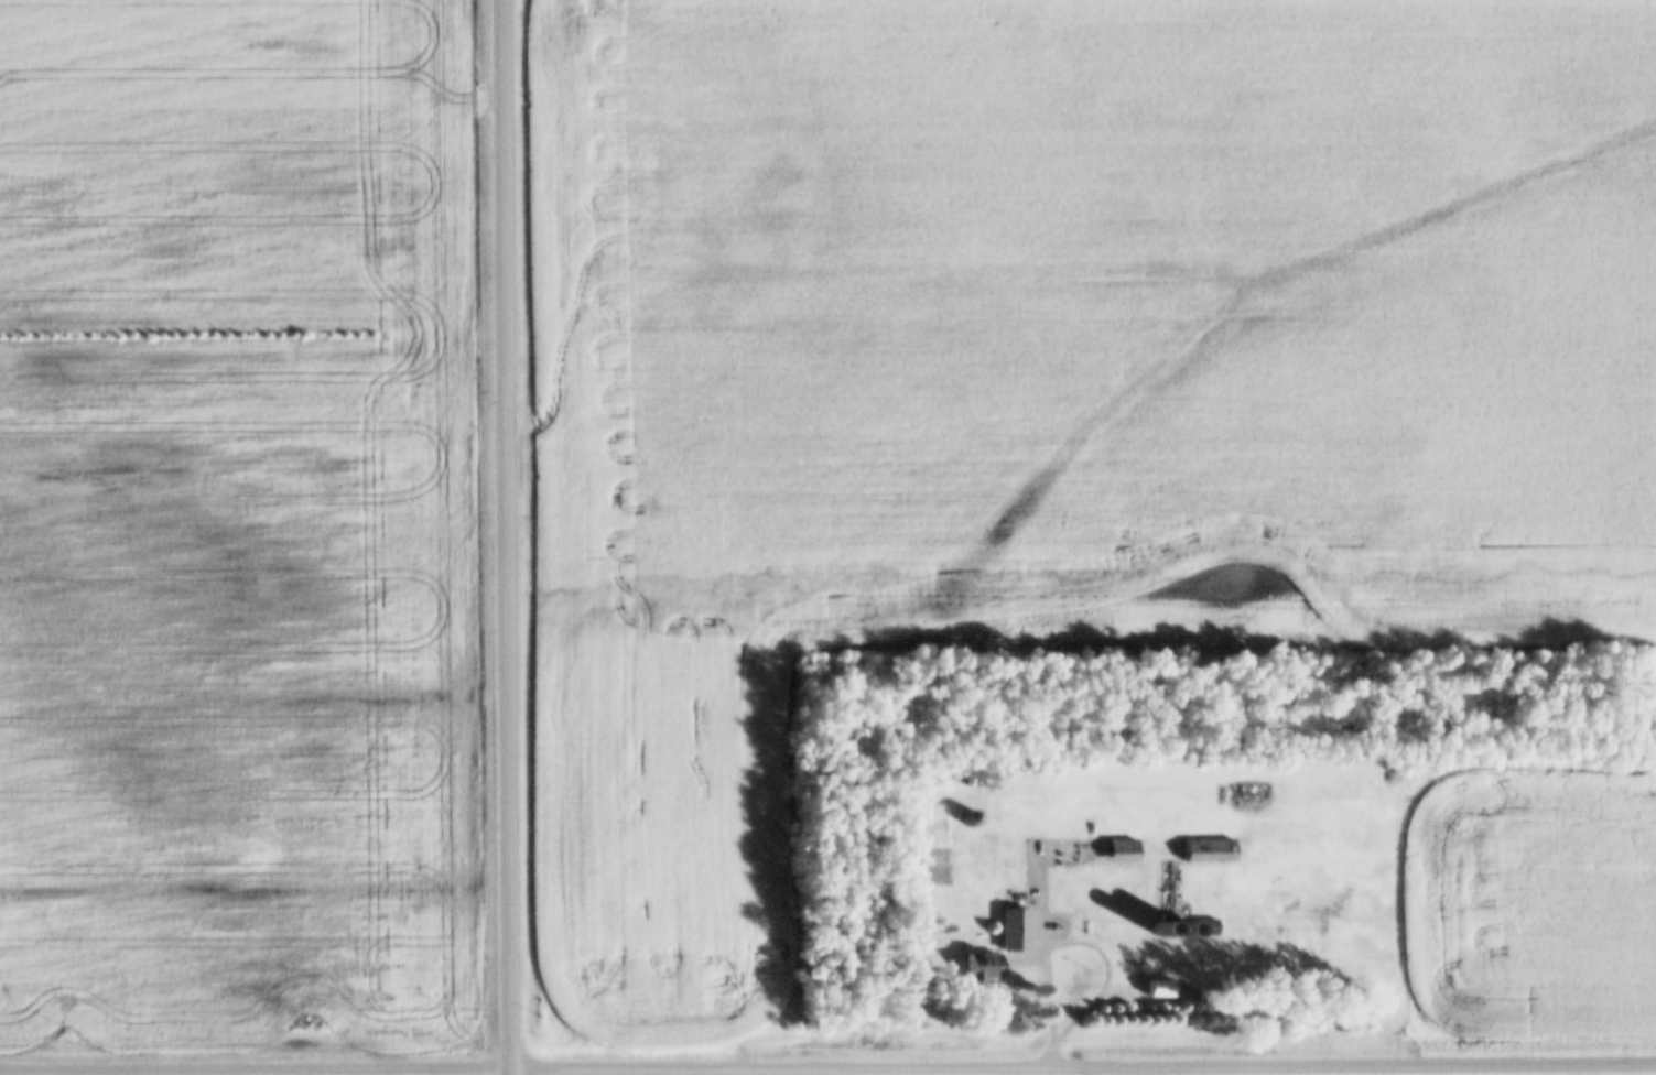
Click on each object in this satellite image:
crop: (235, 528)
road: (511, 537)
building: (970, 821)
building: (1094, 851)
building: (1170, 890)
building: (984, 897)
building: (1014, 931)
road: (1084, 946)
building: (981, 967)
building: (1158, 989)
road: (1085, 1067)
road: (258, 1069)

